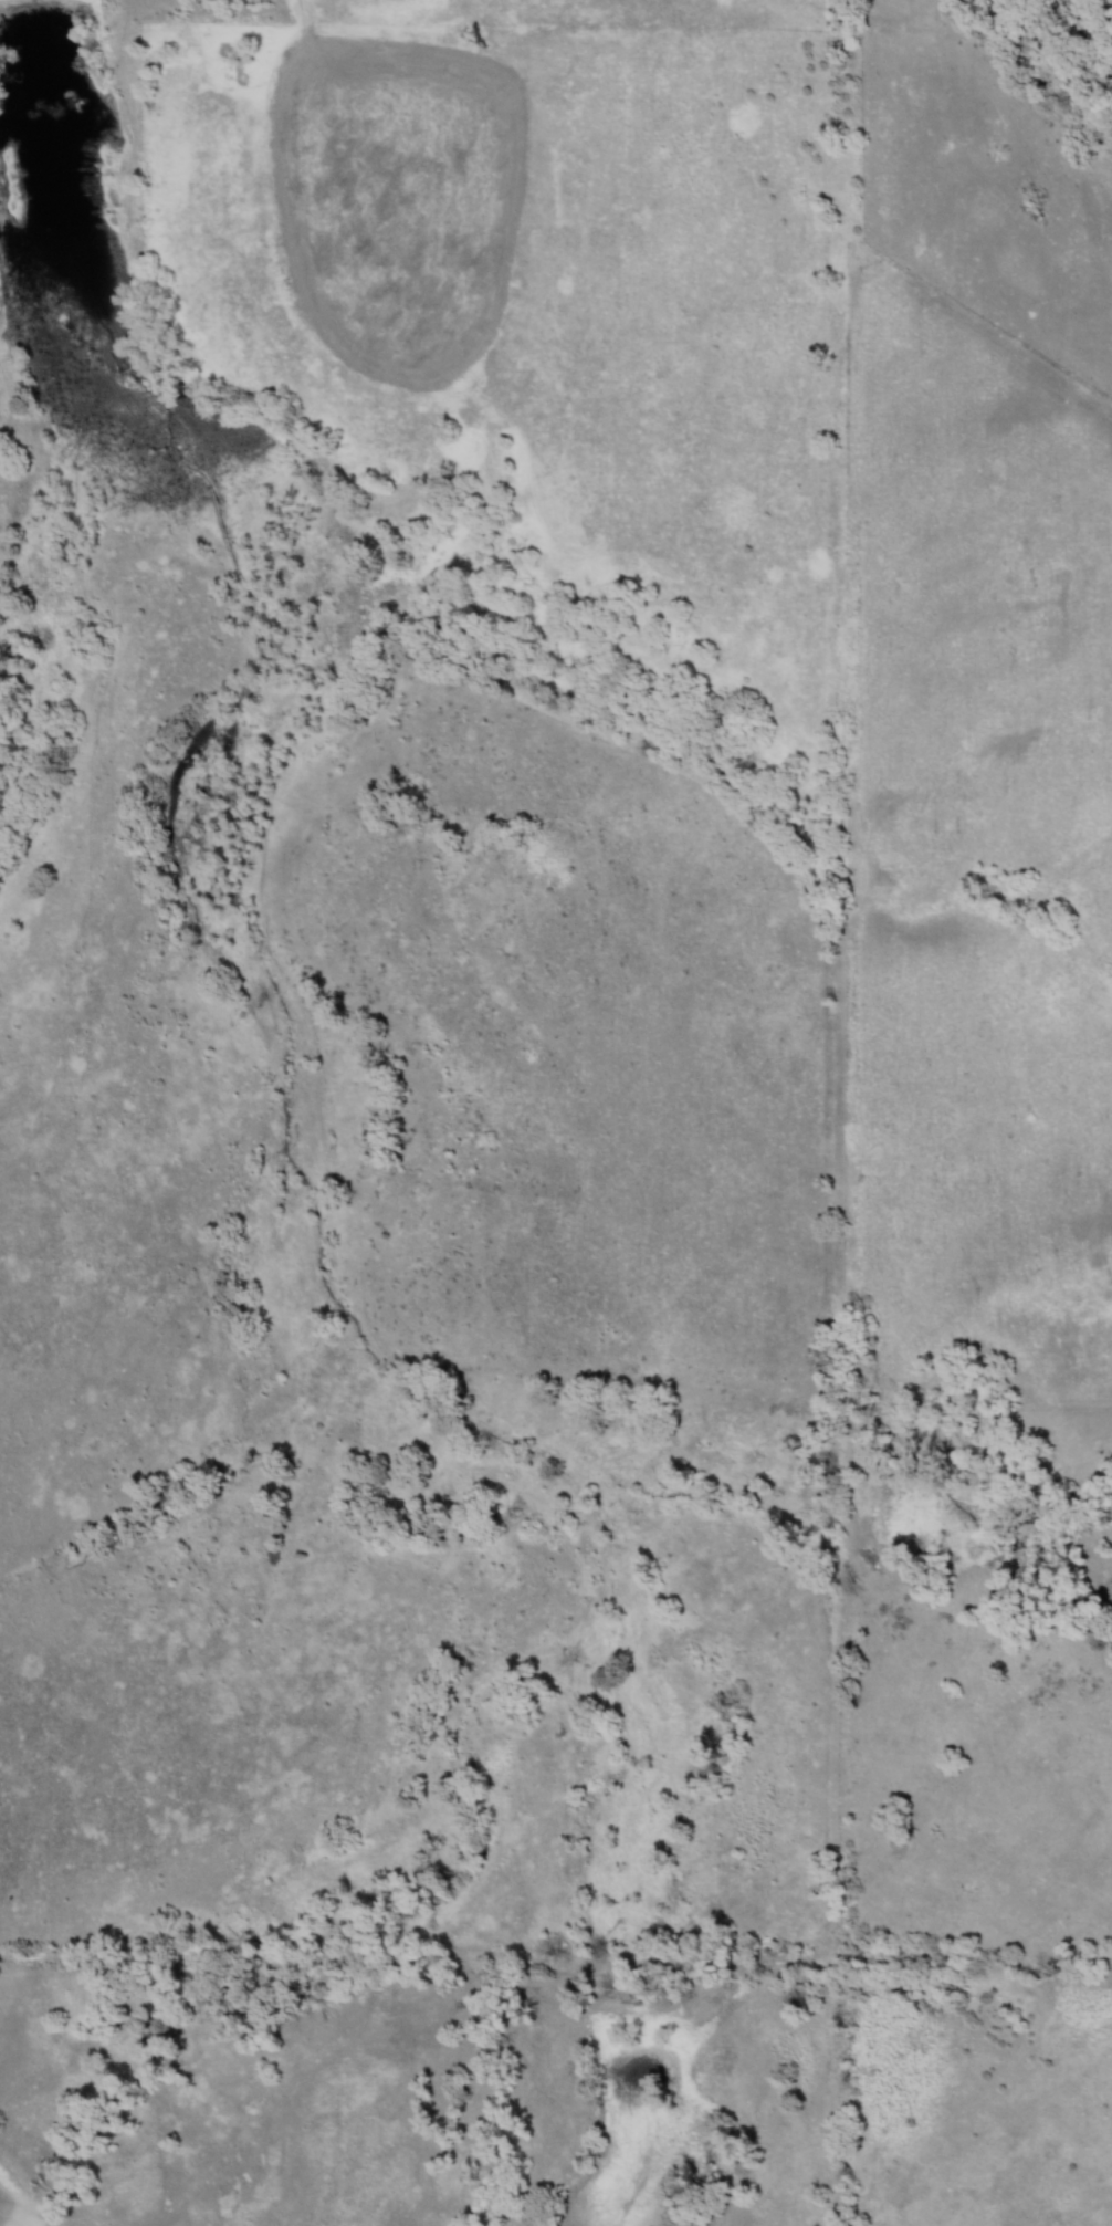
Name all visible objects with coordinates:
road: (213, 1955)

